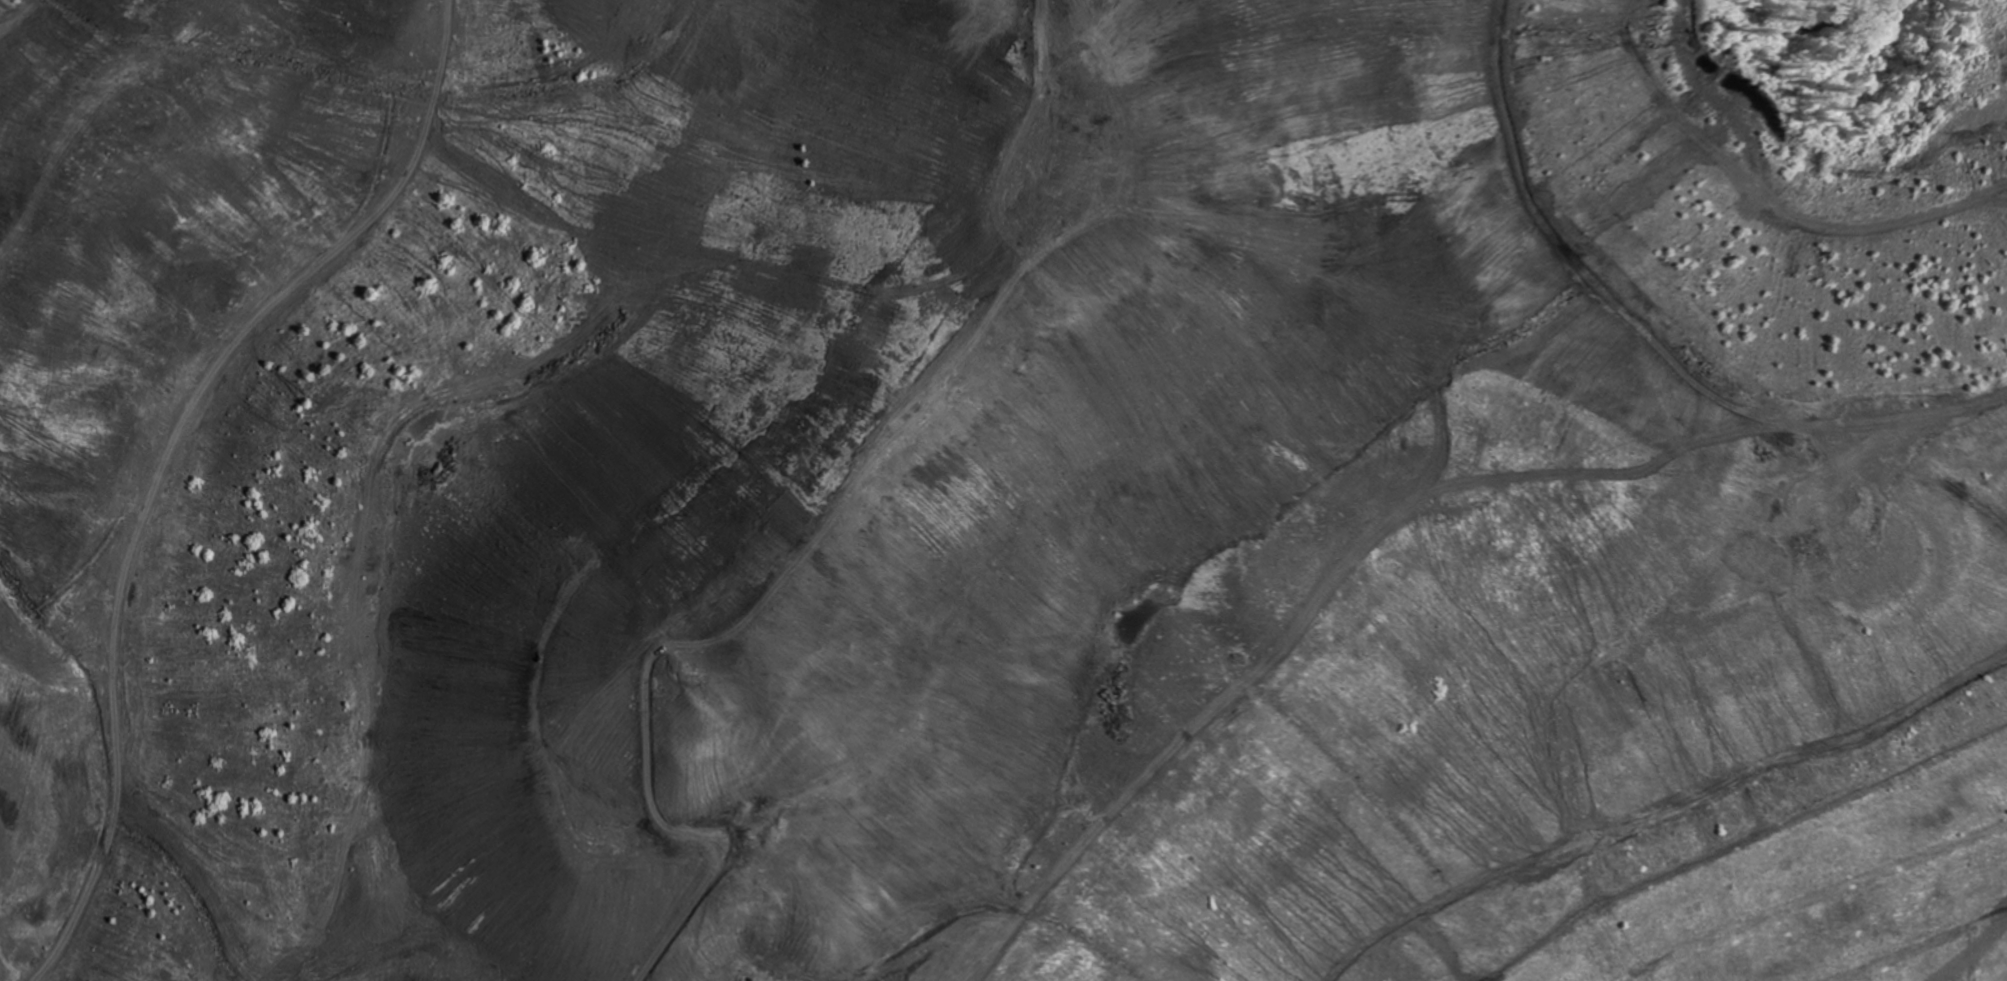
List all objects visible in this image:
building: (1695, 507)

